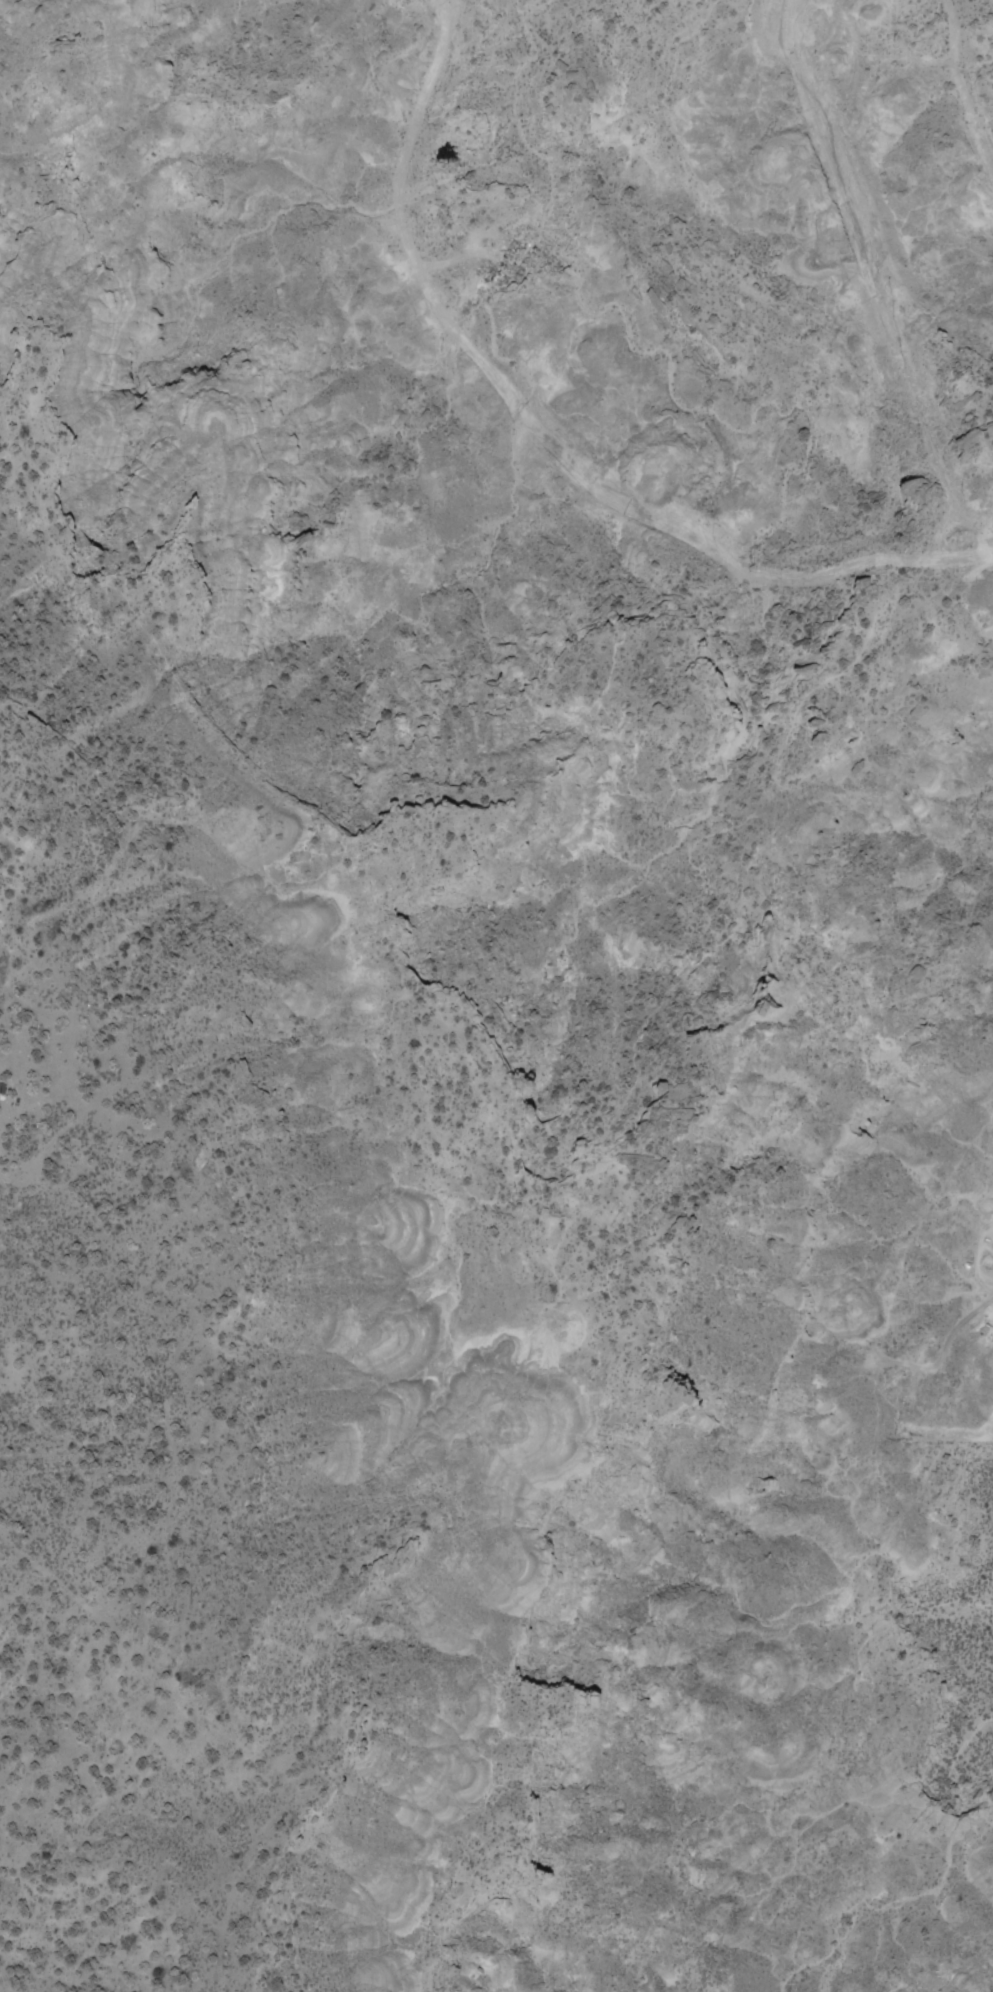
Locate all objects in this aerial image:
road: (546, 436)

